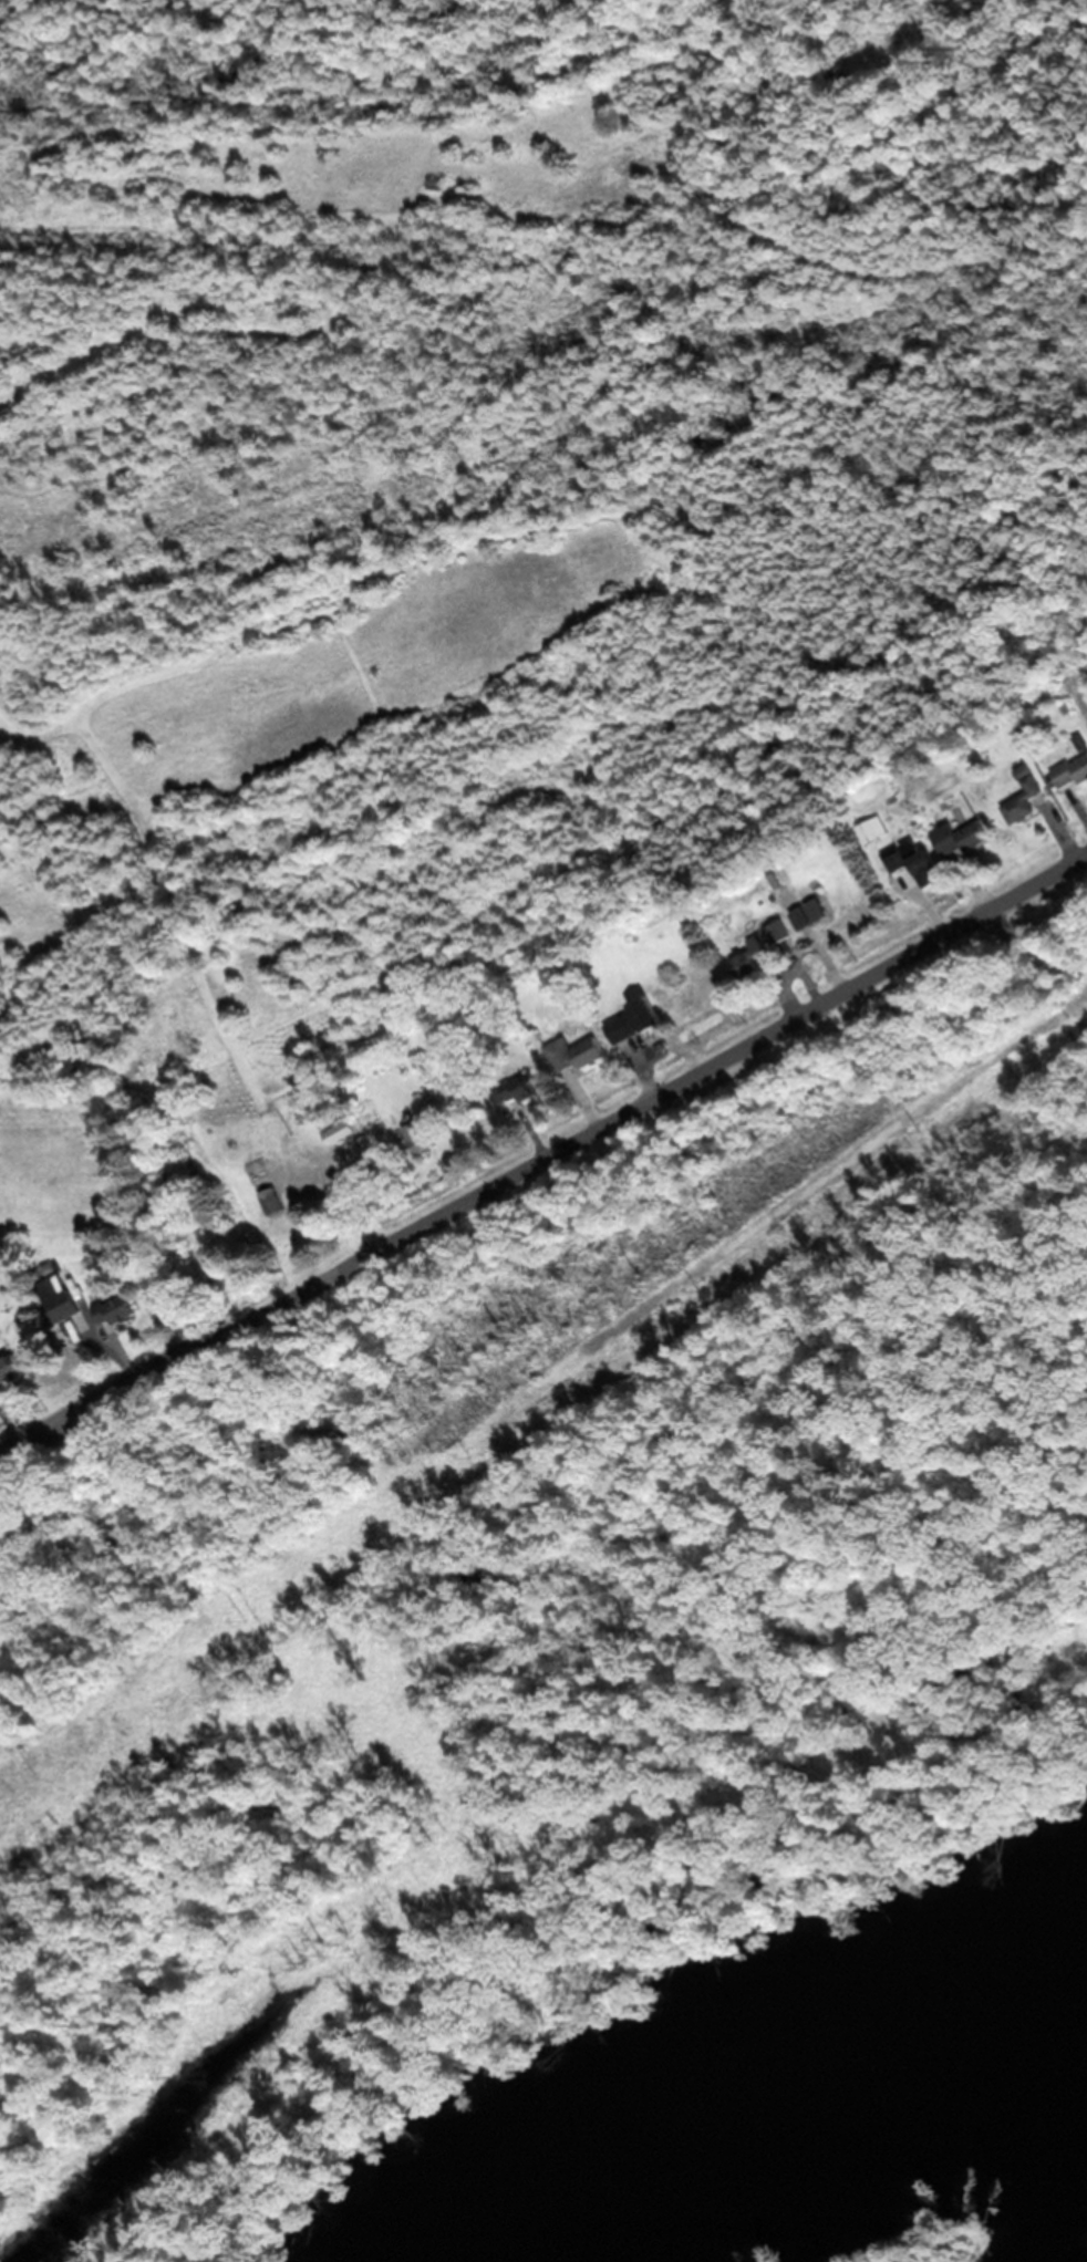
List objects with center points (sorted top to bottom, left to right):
building: (1083, 741)
building: (1023, 767)
building: (1072, 771)
building: (1025, 800)
building: (872, 829)
building: (963, 838)
building: (921, 857)
building: (896, 858)
building: (629, 923)
building: (779, 930)
road: (1033, 942)
building: (750, 957)
building: (618, 983)
building: (646, 1011)
building: (620, 1027)
building: (573, 1052)
building: (521, 1086)
building: (341, 1131)
building: (420, 1135)
building: (366, 1143)
road: (543, 1158)
building: (266, 1185)
building: (63, 1300)
building: (116, 1309)
building: (11, 1368)

